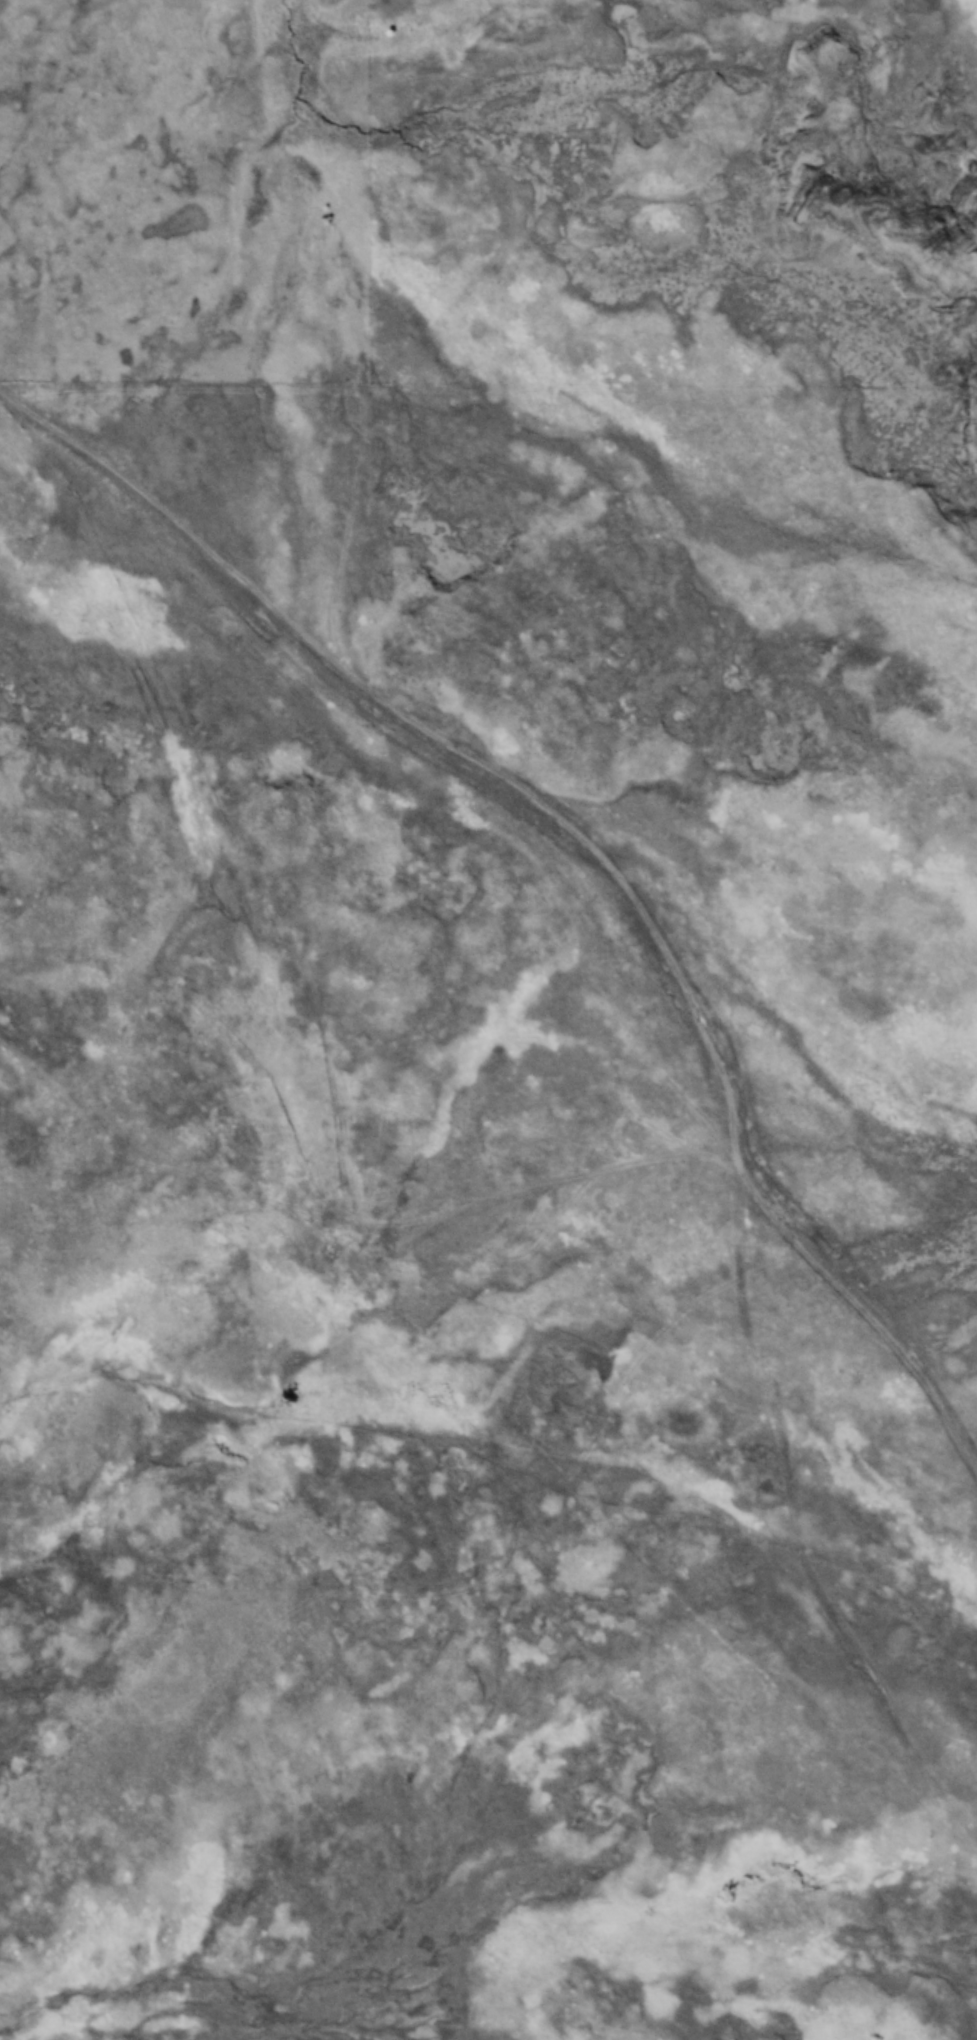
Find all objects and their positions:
road: (580, 840)
road: (798, 1488)
road: (658, 1569)

